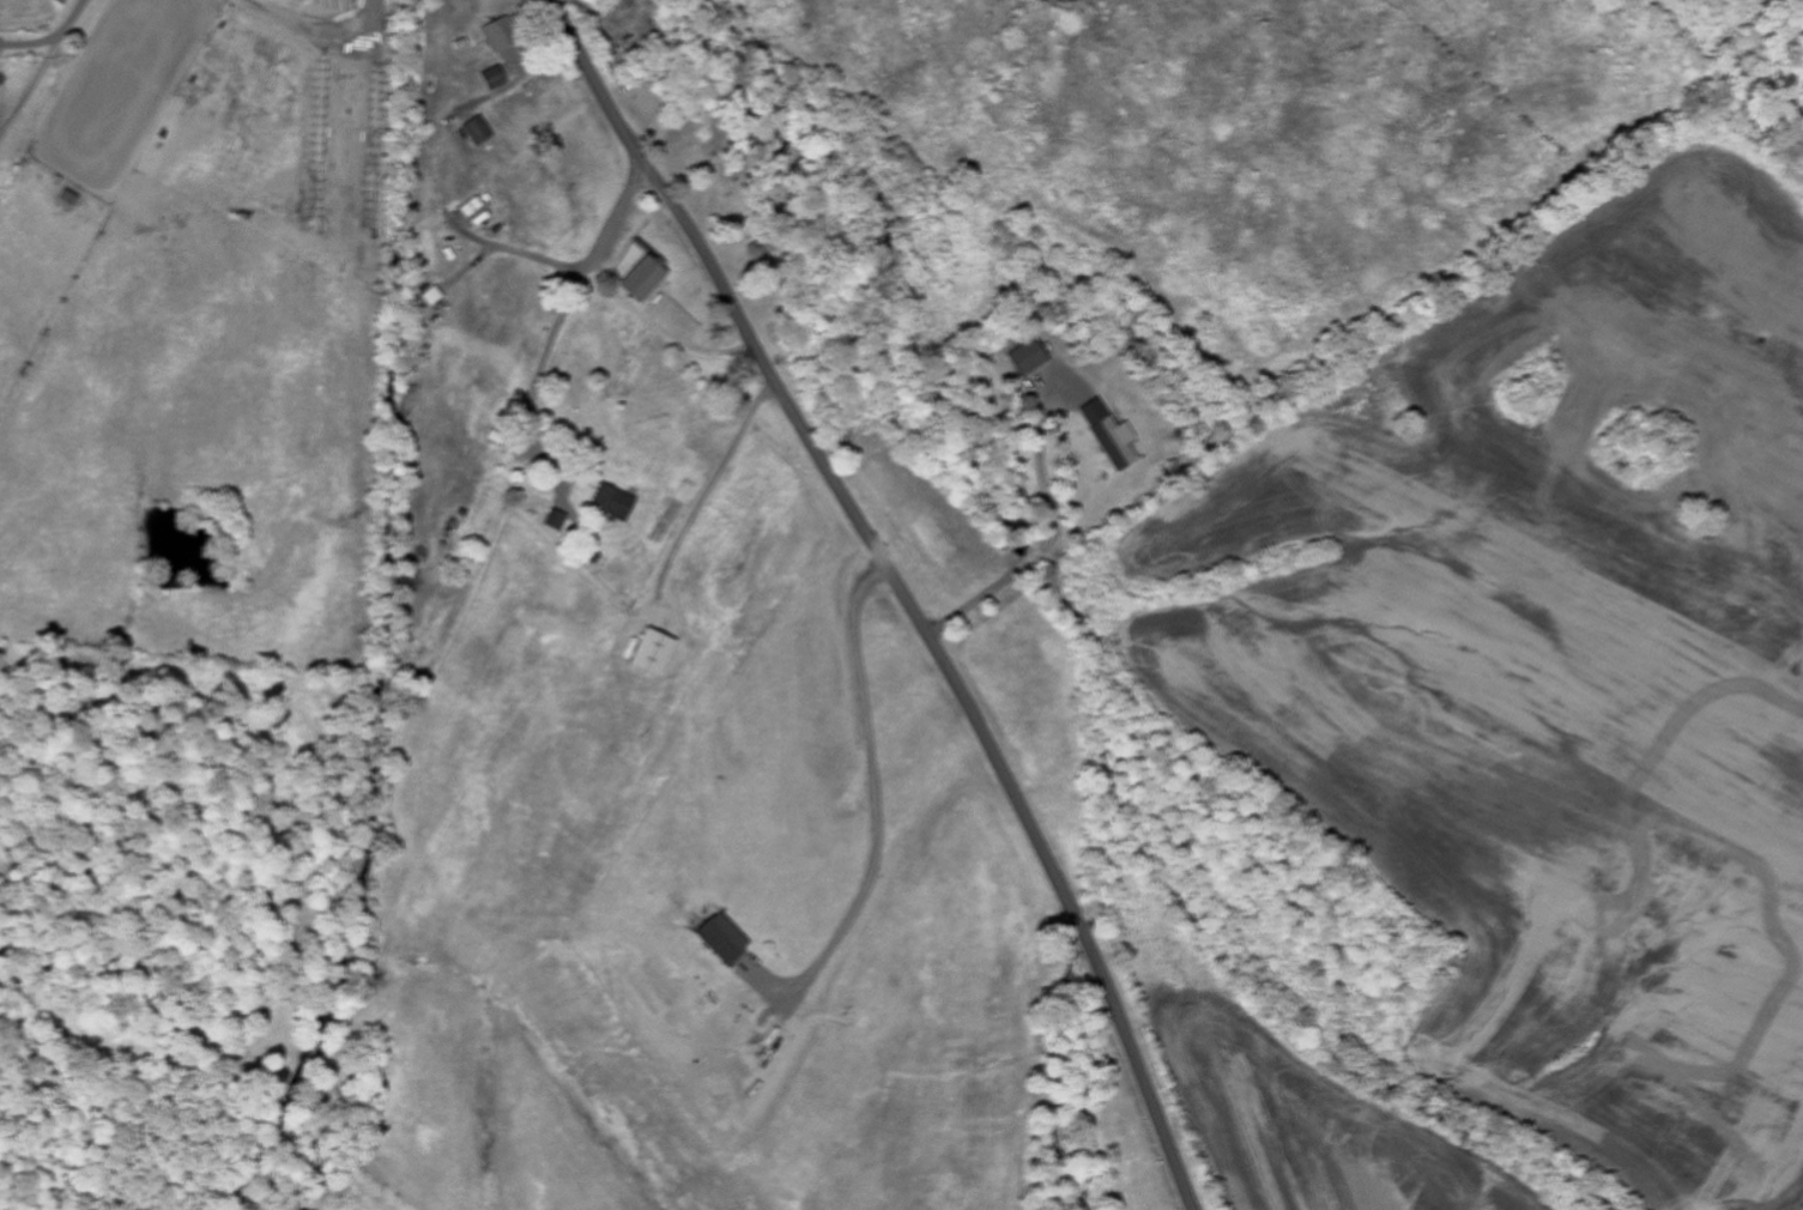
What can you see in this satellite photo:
building: (498, 41)
building: (492, 79)
building: (478, 132)
building: (641, 280)
park: (598, 355)
building: (1029, 358)
building: (1108, 435)
building: (613, 503)
road: (1070, 521)
road: (897, 591)
road: (432, 636)
building: (653, 654)
building: (721, 939)

